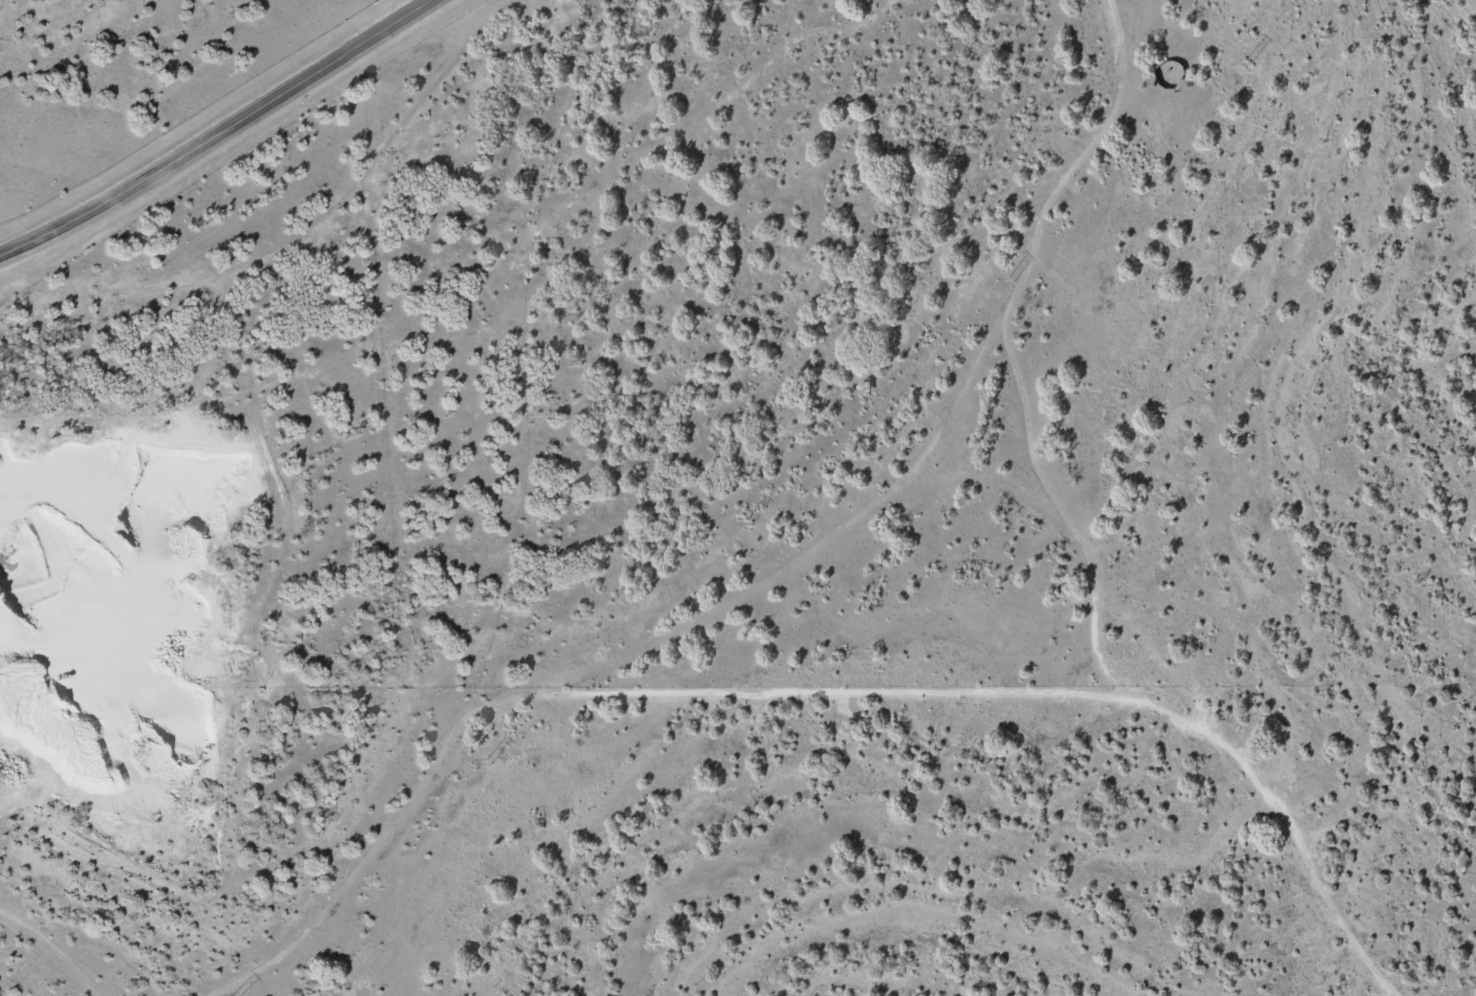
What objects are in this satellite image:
power tower: (1244, 63)
road: (225, 132)
power tower: (1000, 281)
power tower: (746, 522)
power tower: (483, 763)

